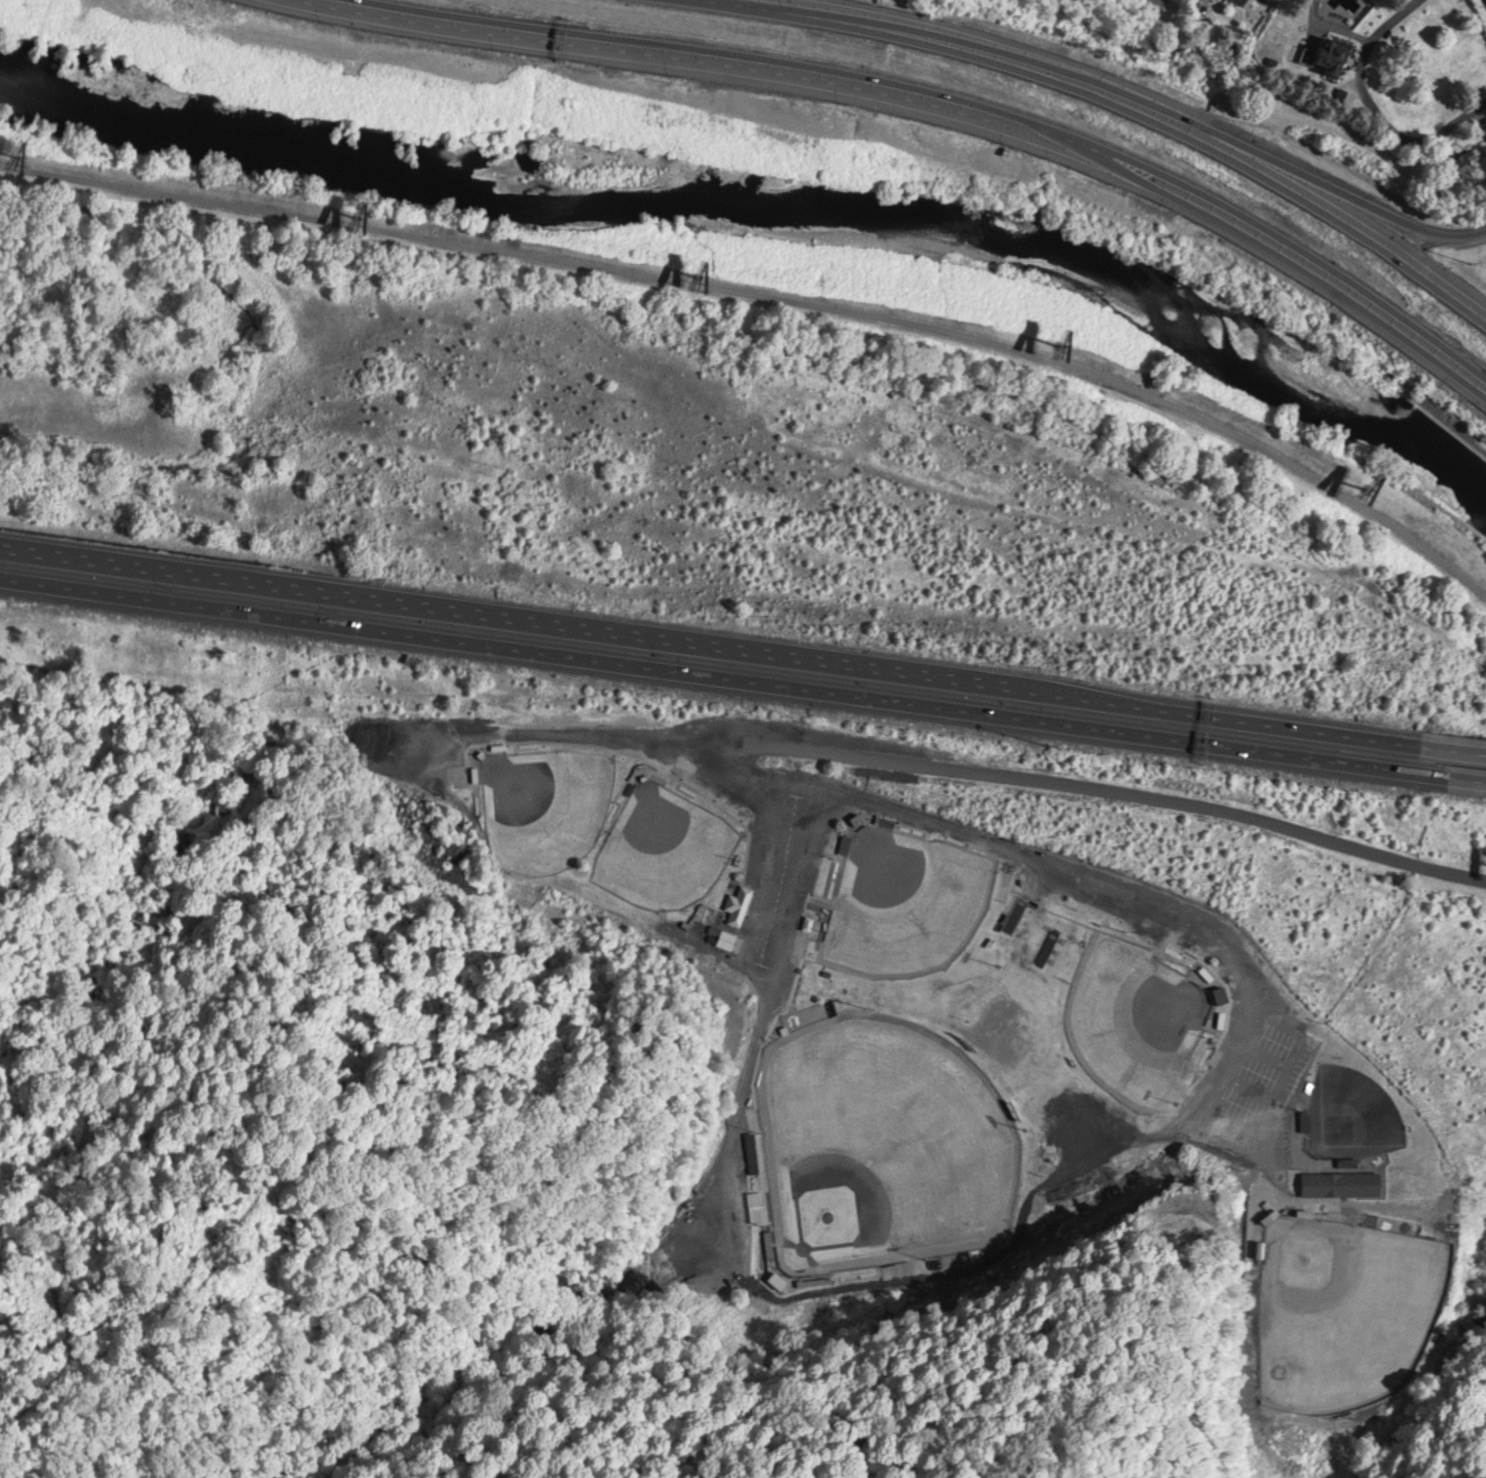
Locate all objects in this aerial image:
building: (1238, 2)
road: (972, 37)
building: (1334, 56)
road: (937, 100)
road: (1369, 107)
building: (1468, 164)
road: (1318, 178)
river: (778, 198)
road: (1325, 203)
road: (773, 293)
road: (702, 627)
road: (705, 666)
road: (1445, 736)
road: (962, 767)
road: (1449, 767)
building: (453, 772)
building: (887, 819)
building: (740, 904)
building: (809, 922)
building: (728, 938)
building: (1206, 973)
park: (1008, 1014)
building: (753, 1116)

